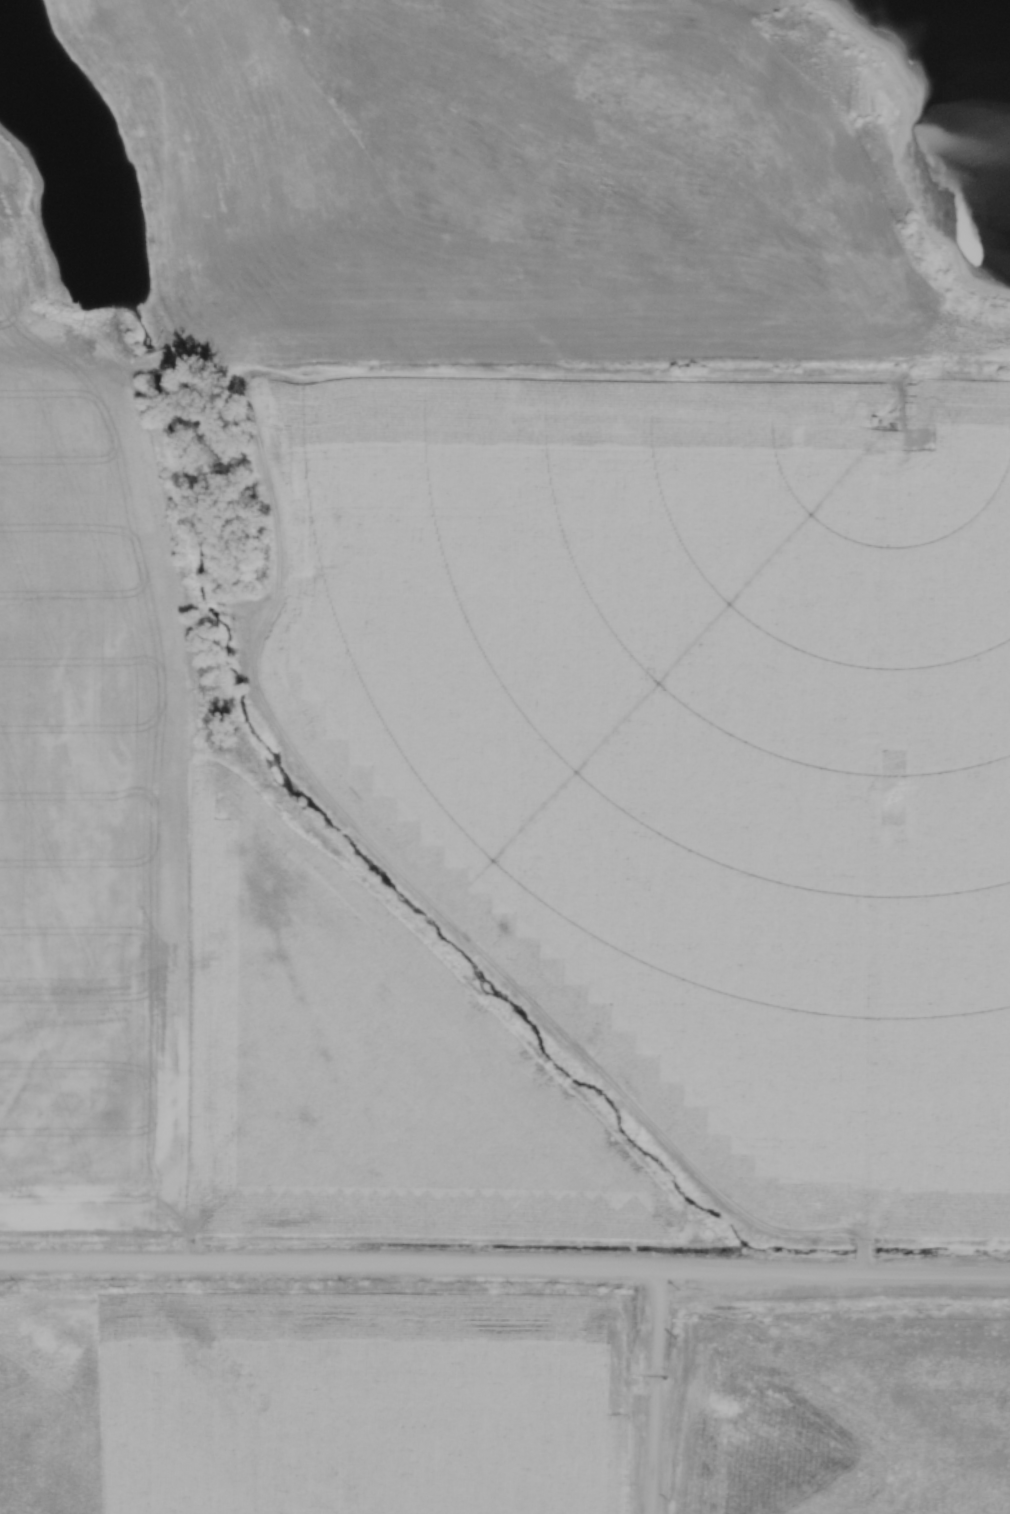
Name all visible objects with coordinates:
building: (808, 1250)
road: (505, 1270)
road: (656, 1393)

